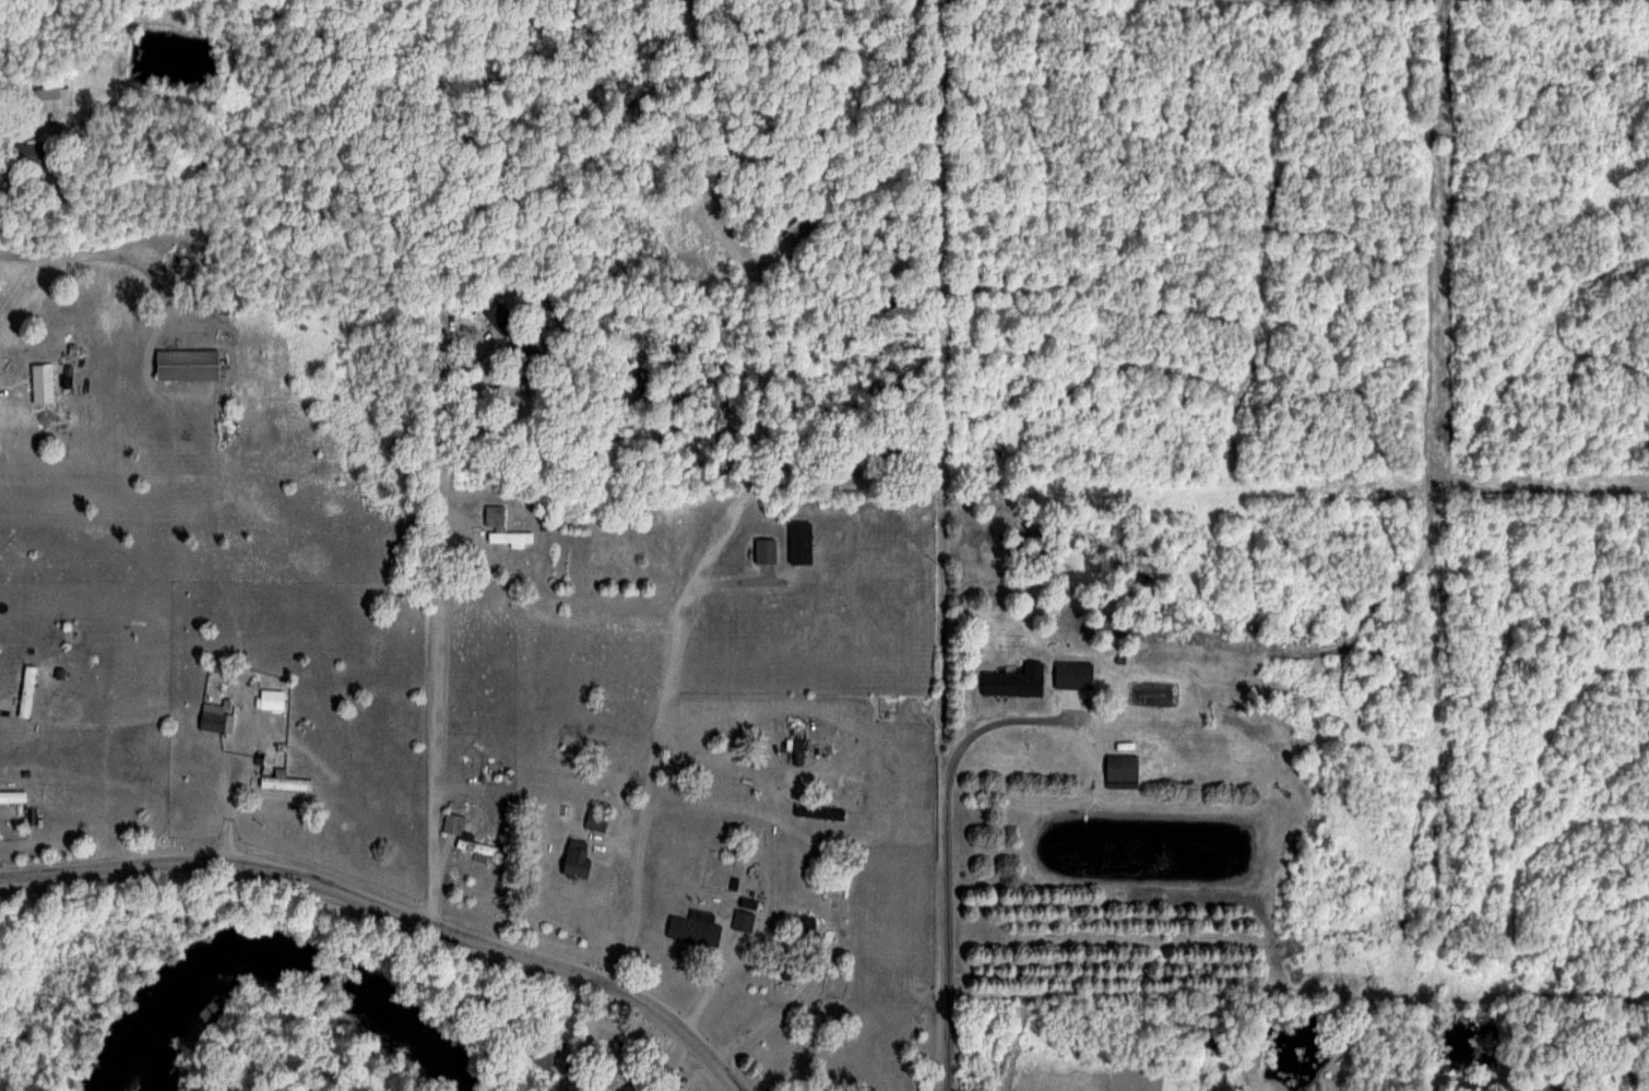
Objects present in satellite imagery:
building: (51, 97)
road: (28, 128)
building: (29, 153)
road: (85, 254)
building: (501, 316)
building: (186, 364)
building: (41, 382)
road: (736, 488)
building: (505, 527)
building: (1073, 675)
building: (1013, 680)
building: (27, 690)
building: (212, 721)
road: (434, 739)
building: (1194, 746)
road: (715, 762)
building: (1122, 771)
building: (285, 783)
building: (12, 796)
building: (819, 811)
road: (945, 816)
building: (595, 820)
building: (454, 833)
building: (576, 857)
road: (394, 905)
building: (744, 920)
building: (804, 927)
building: (695, 928)
river: (288, 953)
building: (791, 967)
building: (631, 1087)

